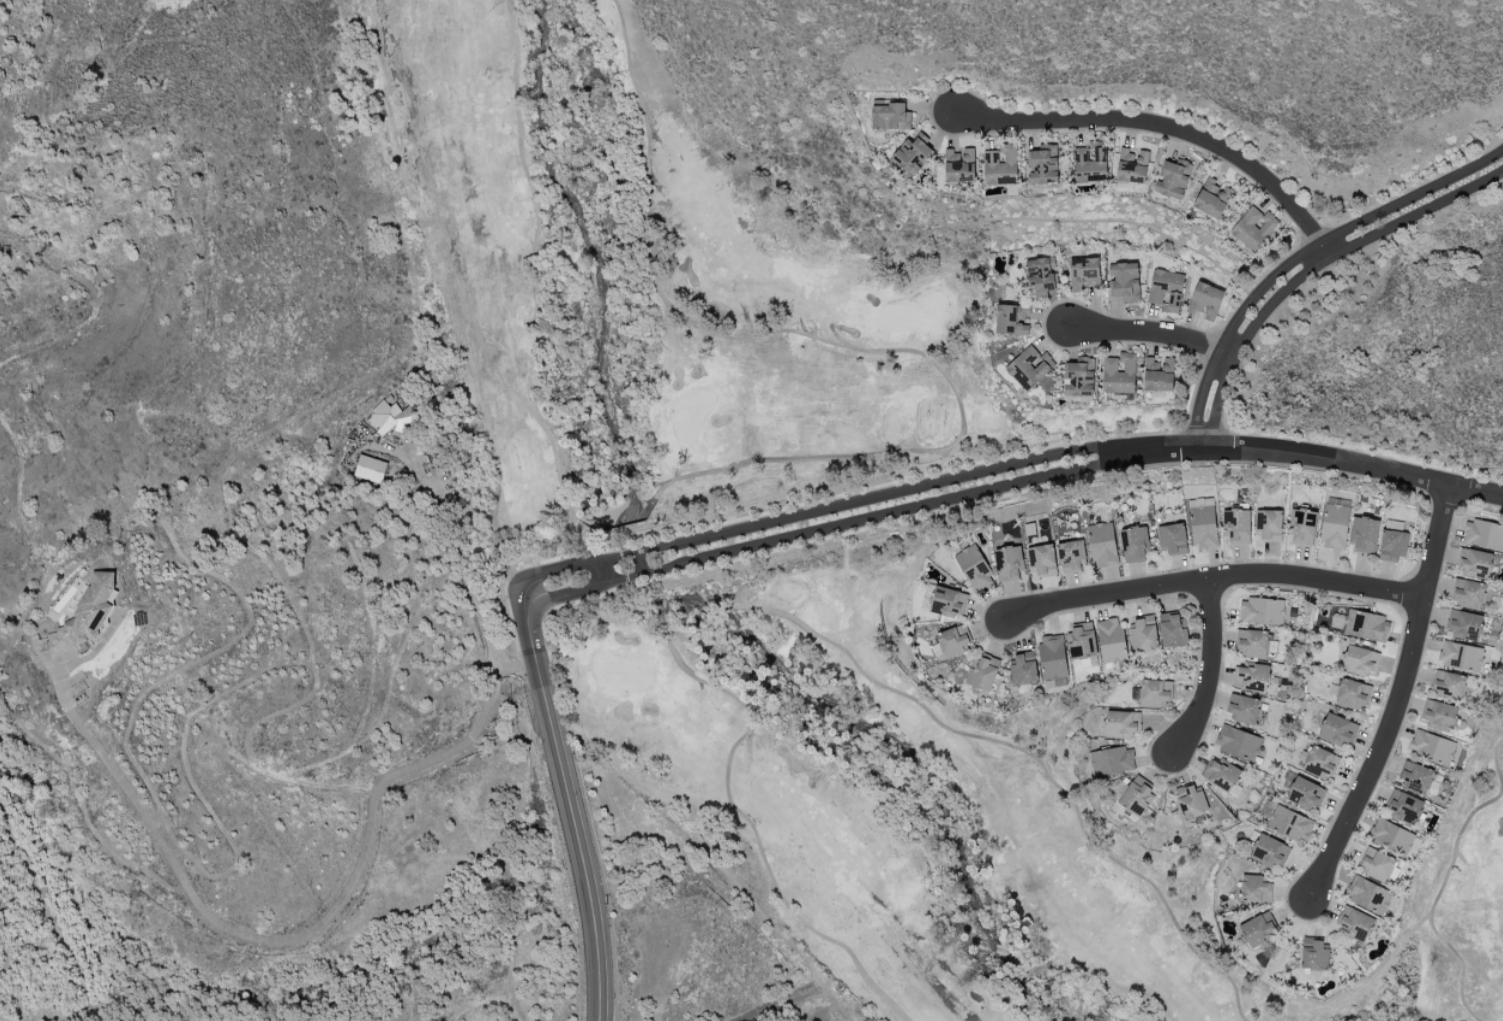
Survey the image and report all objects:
building: (890, 116)
road: (1167, 127)
building: (913, 153)
building: (1090, 162)
building: (960, 165)
building: (1001, 165)
building: (1042, 165)
building: (1132, 166)
building: (1173, 178)
road: (1412, 193)
building: (1212, 198)
road: (1417, 210)
building: (1253, 227)
building: (1084, 274)
building: (1040, 276)
building: (1124, 281)
building: (1166, 290)
building: (1206, 301)
building: (1012, 319)
road: (1229, 328)
road: (1153, 332)
road: (1245, 337)
building: (1029, 367)
building: (1119, 373)
building: (1159, 374)
building: (1078, 380)
building: (390, 418)
building: (370, 469)
road: (1009, 475)
road: (497, 494)
building: (1268, 525)
building: (1236, 526)
building: (1302, 526)
building: (1203, 527)
building: (1334, 527)
building: (1364, 534)
building: (1483, 534)
building: (1172, 539)
building: (1134, 543)
building: (1102, 544)
building: (1393, 545)
building: (1071, 555)
park: (801, 558)
building: (1041, 560)
building: (1008, 563)
building: (1475, 563)
building: (974, 568)
road: (1214, 578)
road: (468, 585)
building: (1468, 594)
building: (948, 602)
building: (1261, 611)
building: (86, 615)
building: (1366, 625)
building: (1464, 625)
building: (1172, 629)
building: (1143, 633)
building: (1111, 640)
building: (1081, 641)
building: (1252, 643)
building: (1460, 656)
building: (1052, 657)
building: (1360, 662)
building: (1024, 668)
road: (1211, 671)
building: (983, 673)
building: (1251, 677)
building: (1448, 684)
building: (1154, 692)
building: (1352, 694)
road: (1401, 698)
building: (1242, 708)
building: (1439, 715)
building: (1122, 724)
building: (1337, 730)
building: (1238, 742)
building: (1432, 747)
building: (1112, 761)
building: (1321, 762)
building: (1221, 774)
building: (1415, 776)
building: (1306, 794)
building: (1135, 797)
building: (1191, 801)
road: (568, 805)
building: (1403, 807)
building: (1289, 823)
building: (1392, 837)
building: (1269, 851)
building: (1376, 865)
building: (1255, 889)
building: (1369, 895)
building: (1354, 923)
road: (307, 924)
building: (1258, 930)
building: (1314, 954)
building: (417, 996)
road: (775, 1000)

